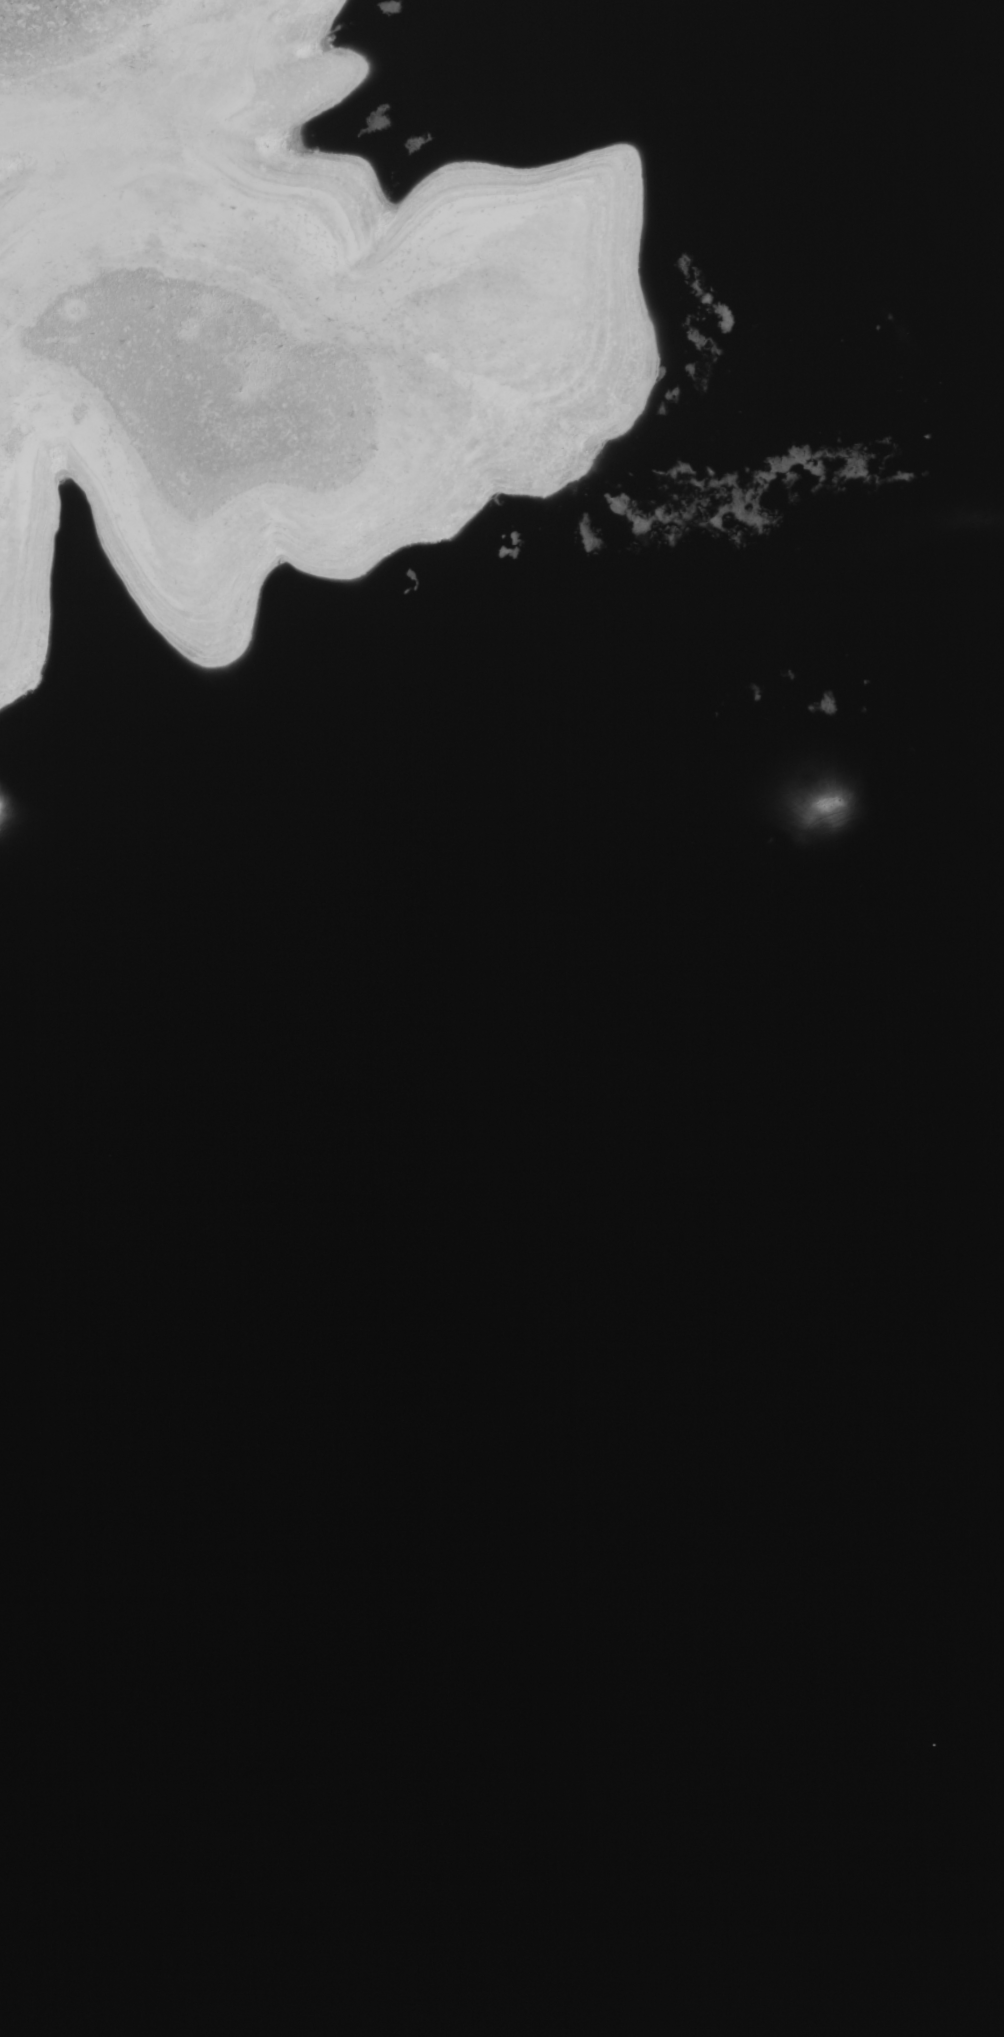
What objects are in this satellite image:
river: (504, 2021)

